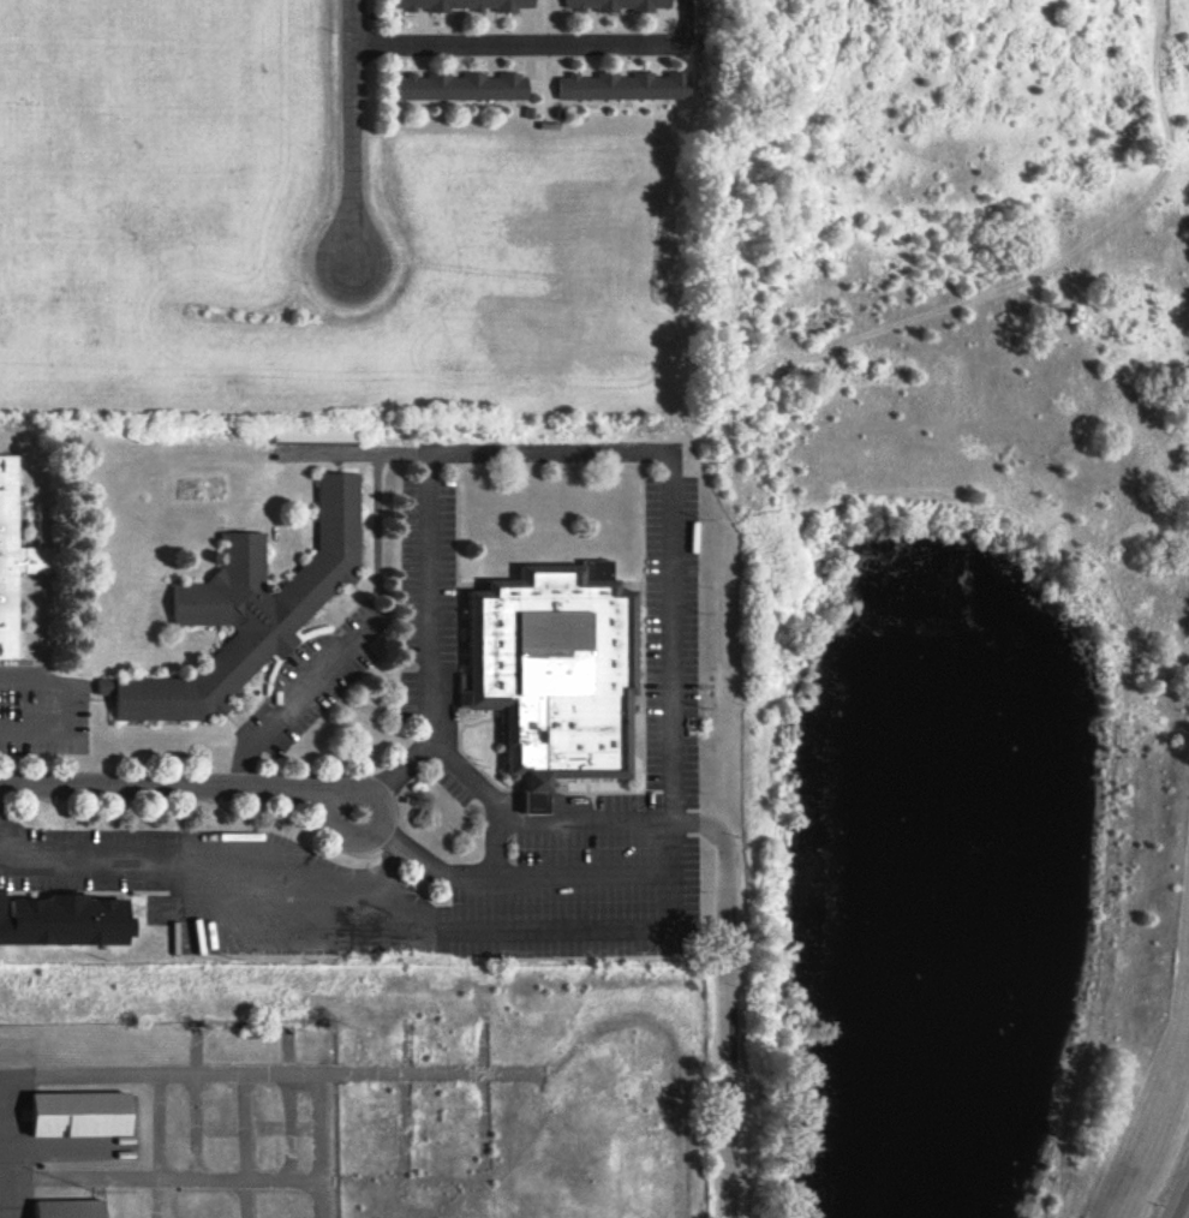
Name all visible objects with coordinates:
building: (461, 5)
building: (615, 5)
road: (683, 19)
road: (519, 44)
building: (621, 85)
building: (456, 86)
road: (354, 127)
building: (321, 434)
building: (16, 557)
building: (247, 610)
building: (550, 674)
road: (184, 784)
building: (67, 918)
road: (728, 1008)
building: (66, 1122)
road: (1183, 1205)
building: (54, 1211)

